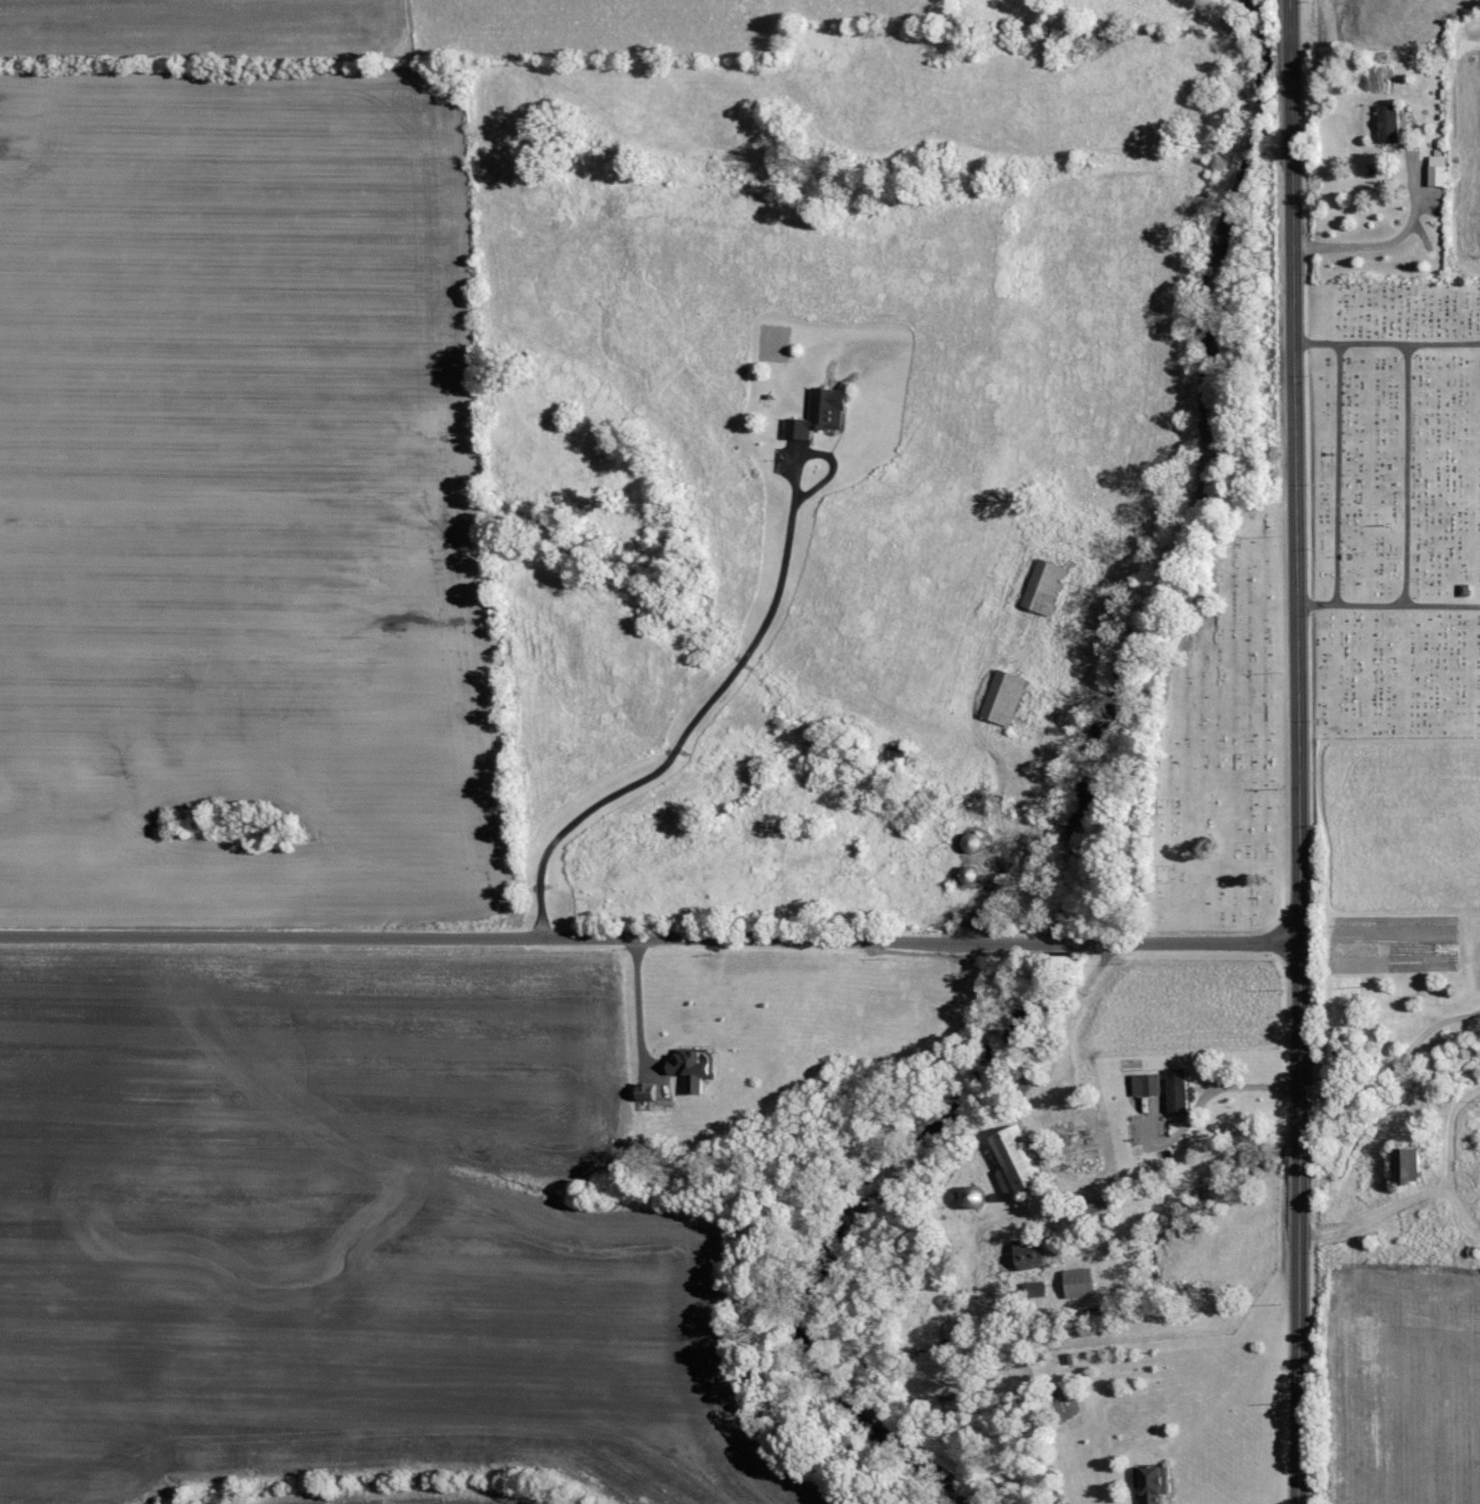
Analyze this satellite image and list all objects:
building: (1387, 123)
road: (1289, 169)
building: (1436, 170)
road: (1382, 246)
road: (1385, 340)
building: (820, 412)
road: (1292, 469)
road: (1406, 473)
park: (1396, 508)
building: (1044, 587)
road: (1387, 604)
building: (1003, 698)
park: (1219, 747)
building: (972, 842)
river: (1074, 842)
road: (992, 843)
road: (740, 938)
road: (1392, 1048)
road: (1299, 1052)
building: (1145, 1084)
road: (1101, 1087)
building: (1176, 1089)
building: (644, 1091)
road: (1035, 1120)
building: (1013, 1157)
building: (1407, 1163)
building: (1026, 1255)
building: (1077, 1282)
building: (1150, 1483)

